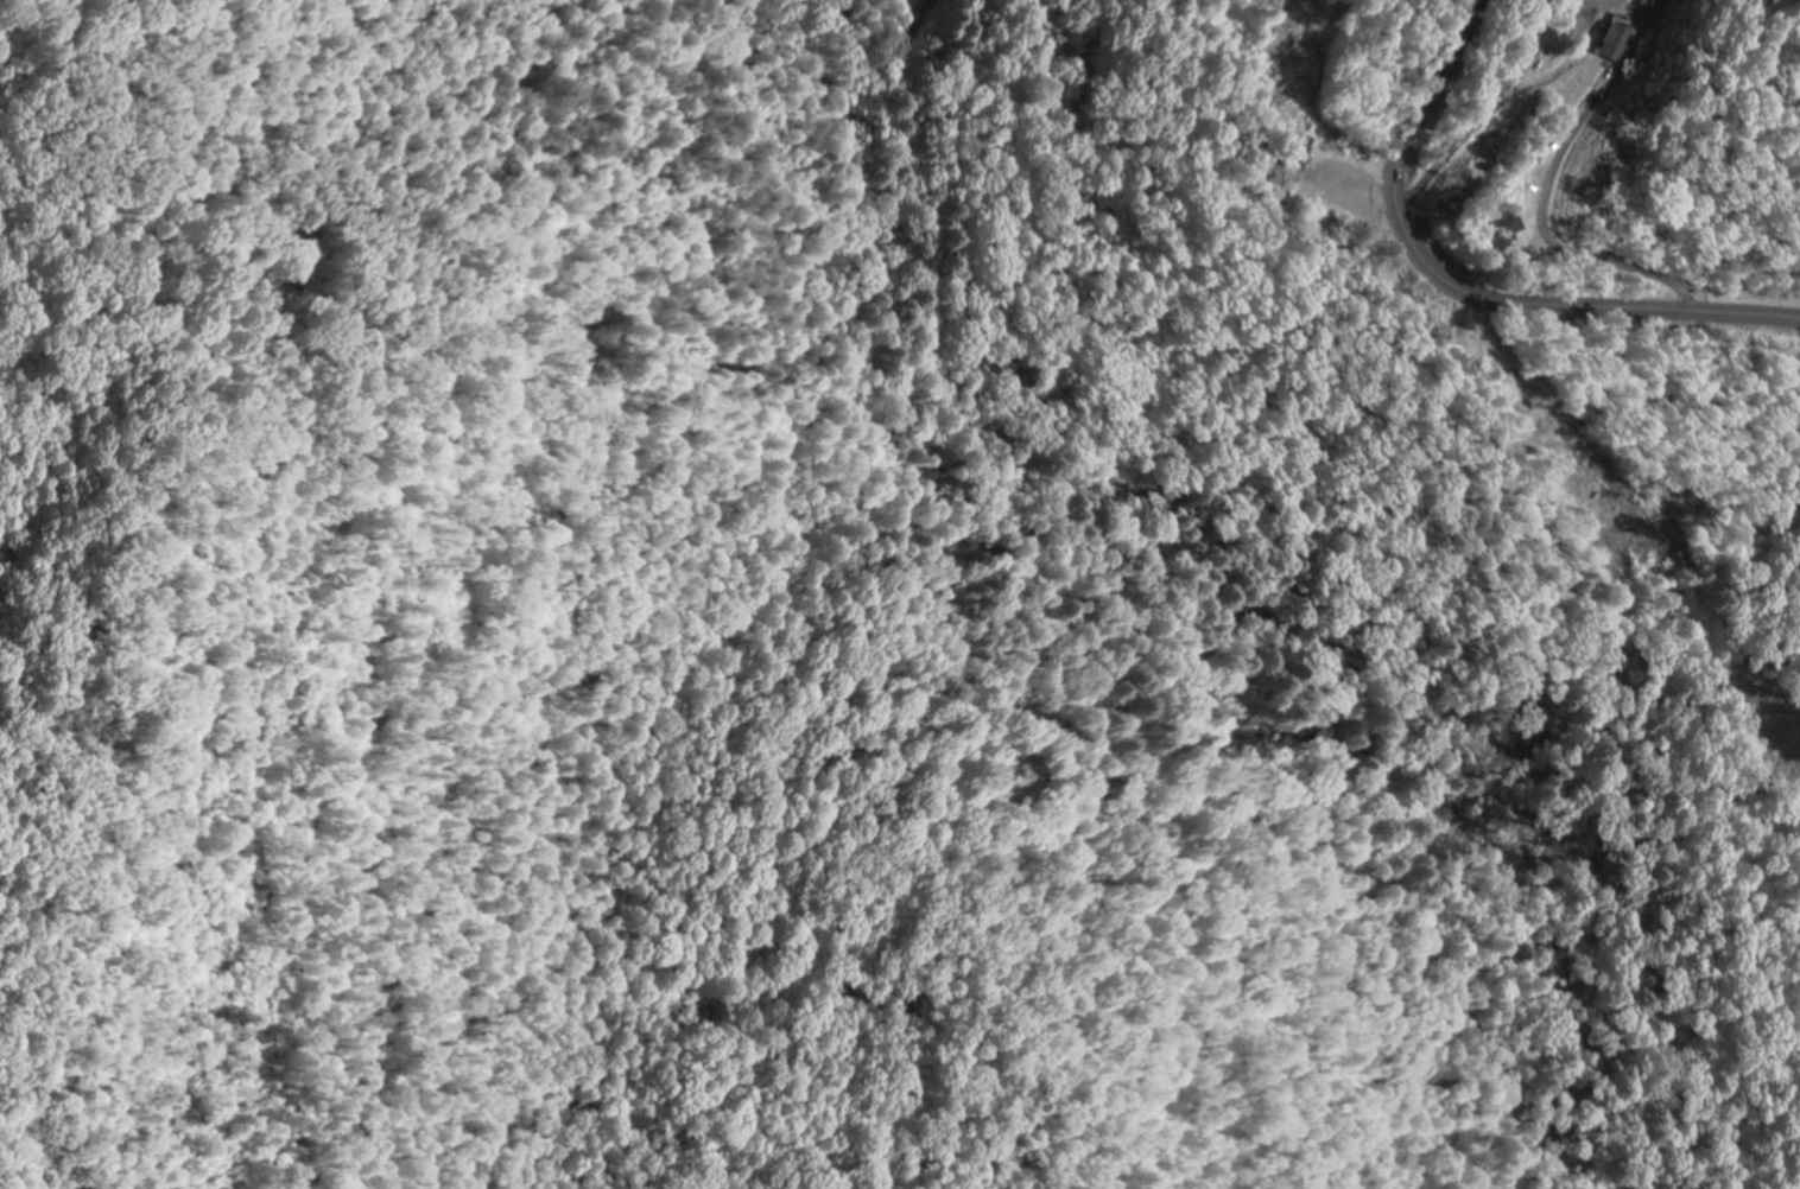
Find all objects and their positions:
road: (1640, 33)
building: (1617, 39)
road: (1490, 110)
road: (1547, 225)
building: (1509, 229)
road: (1465, 290)

